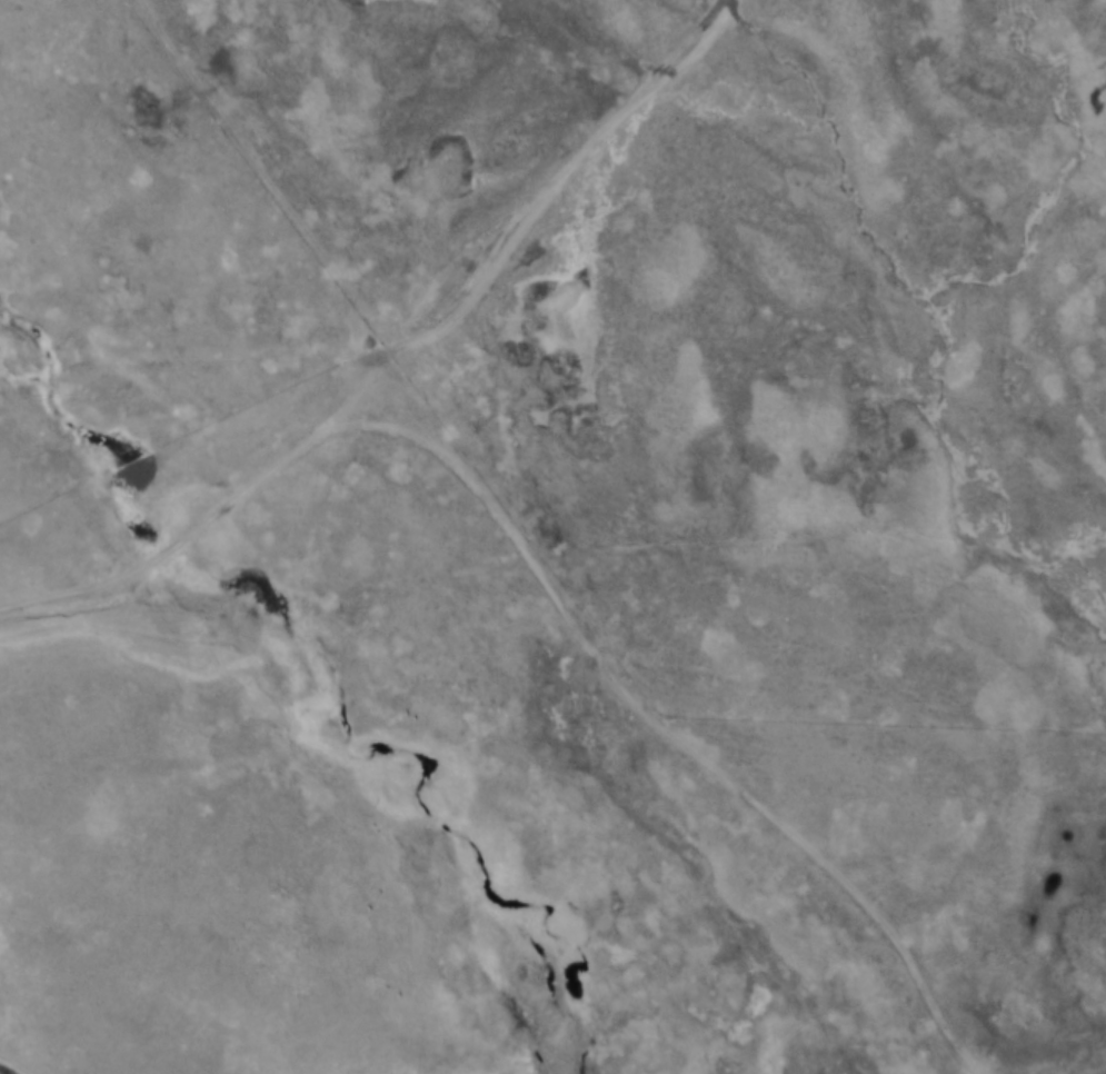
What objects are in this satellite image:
road: (14, 1065)

